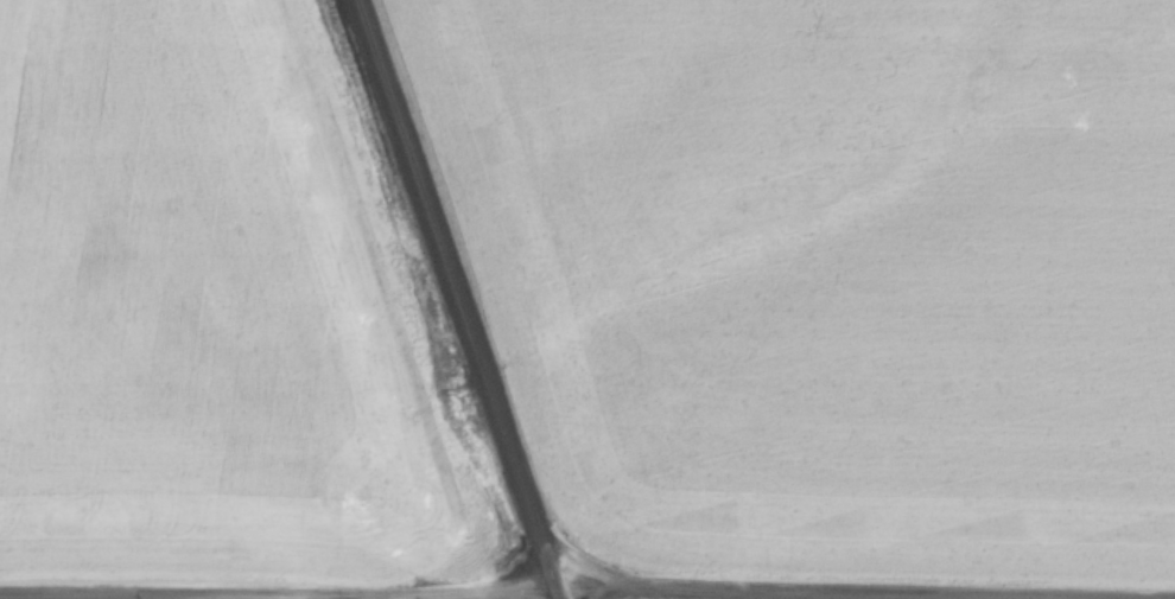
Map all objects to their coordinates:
road: (451, 291)
road: (863, 590)
road: (508, 591)
road: (553, 591)
road: (233, 597)

